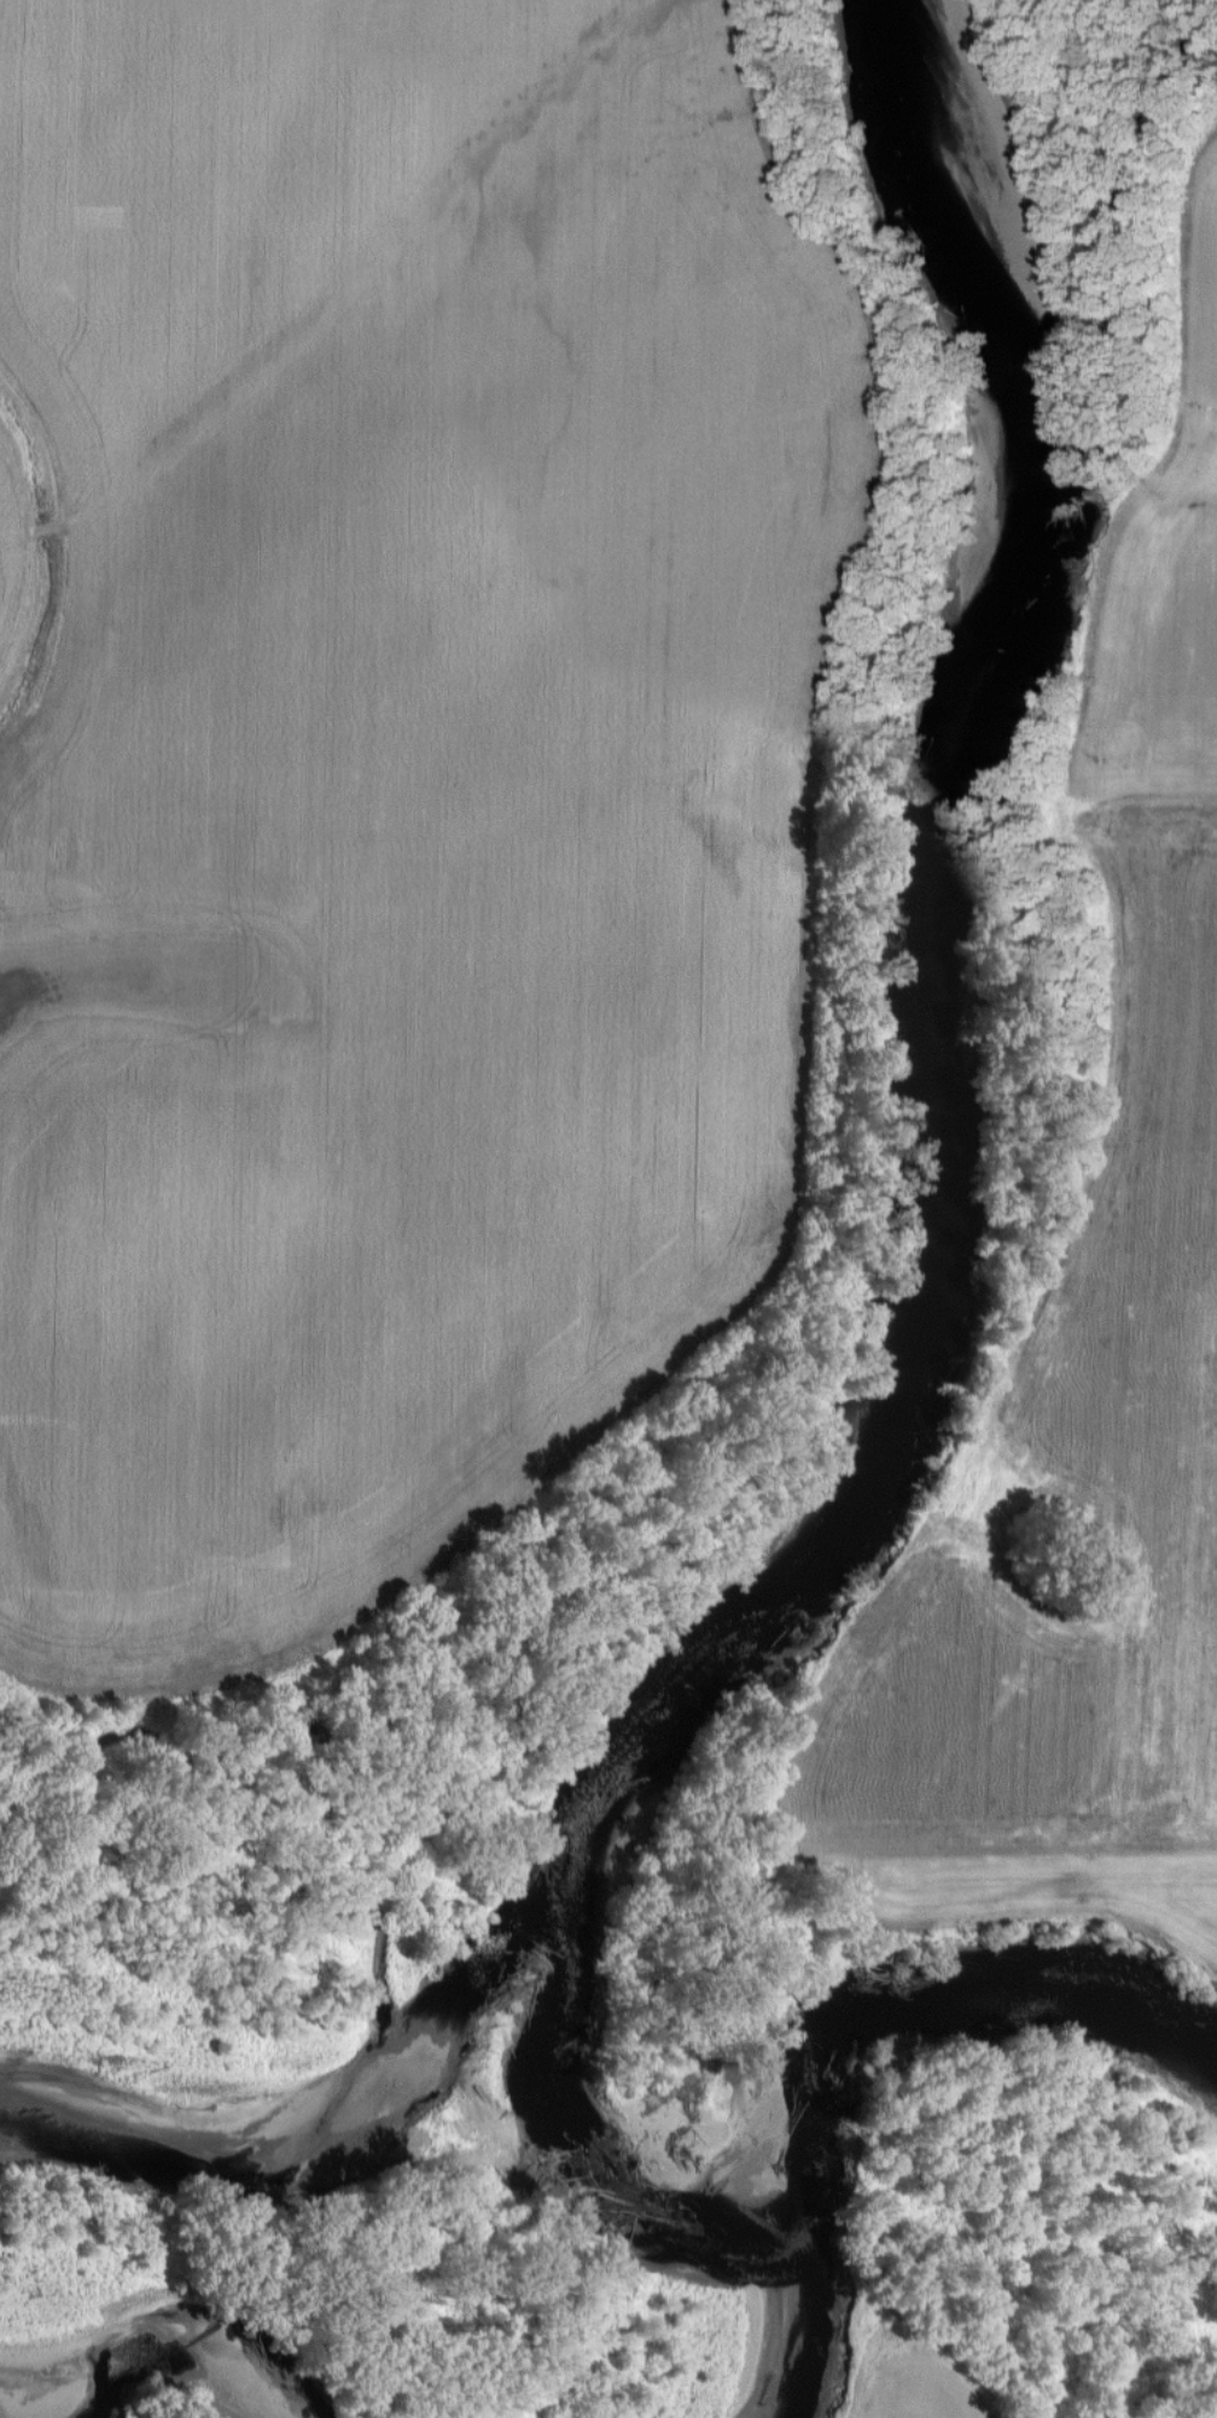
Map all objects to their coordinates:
road: (1177, 796)
river: (914, 1324)
road: (21, 1920)
river: (817, 2060)
river: (135, 2330)

